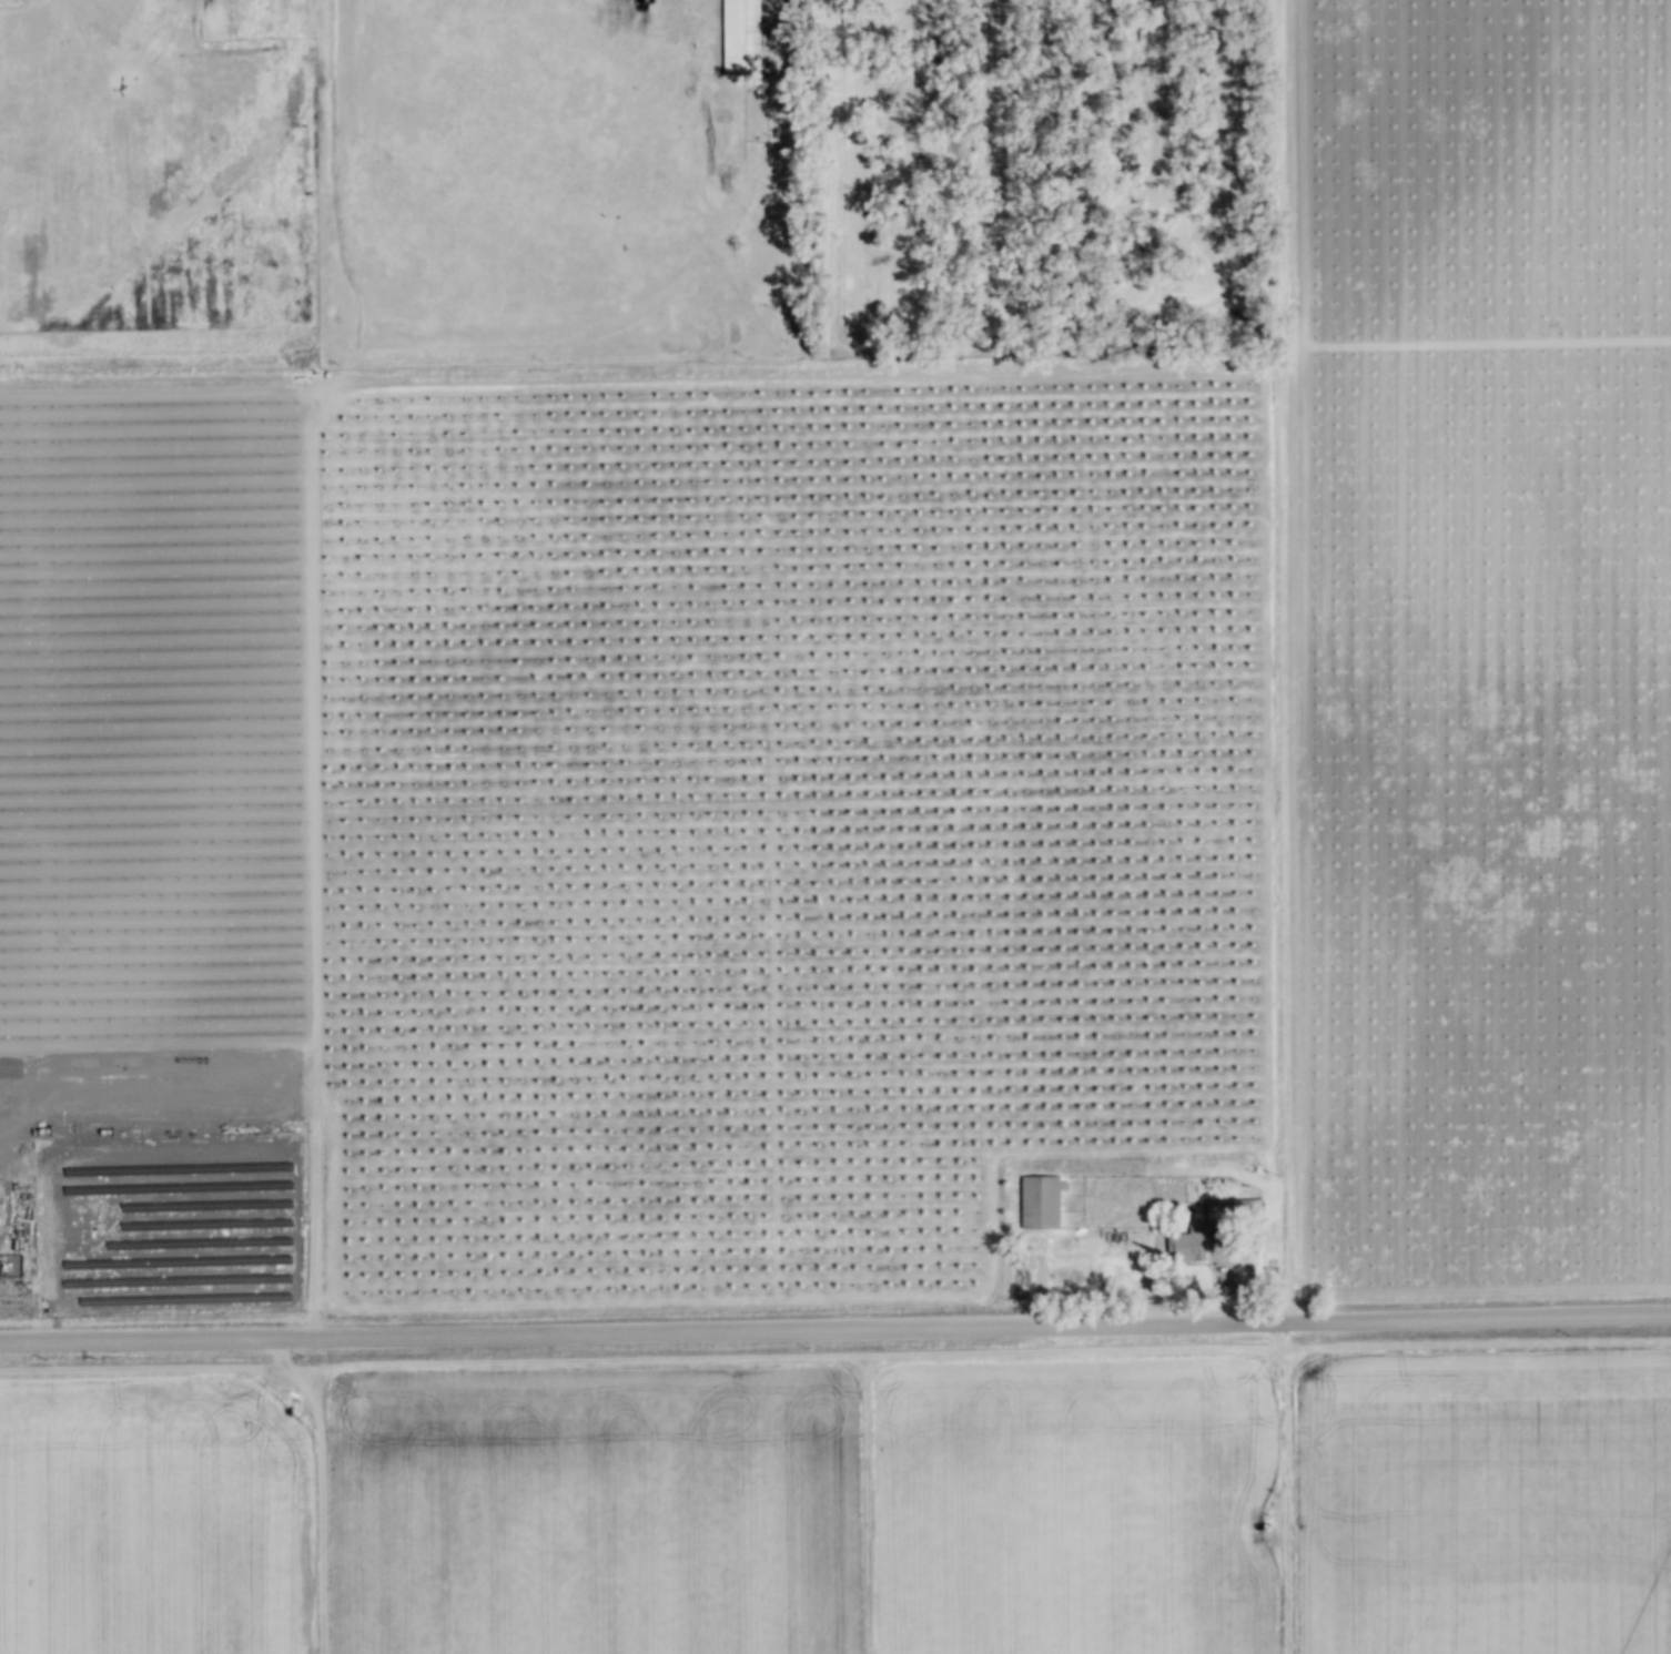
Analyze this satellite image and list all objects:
building: (741, 35)
building: (1041, 1203)
building: (1198, 1239)
road: (835, 1327)

